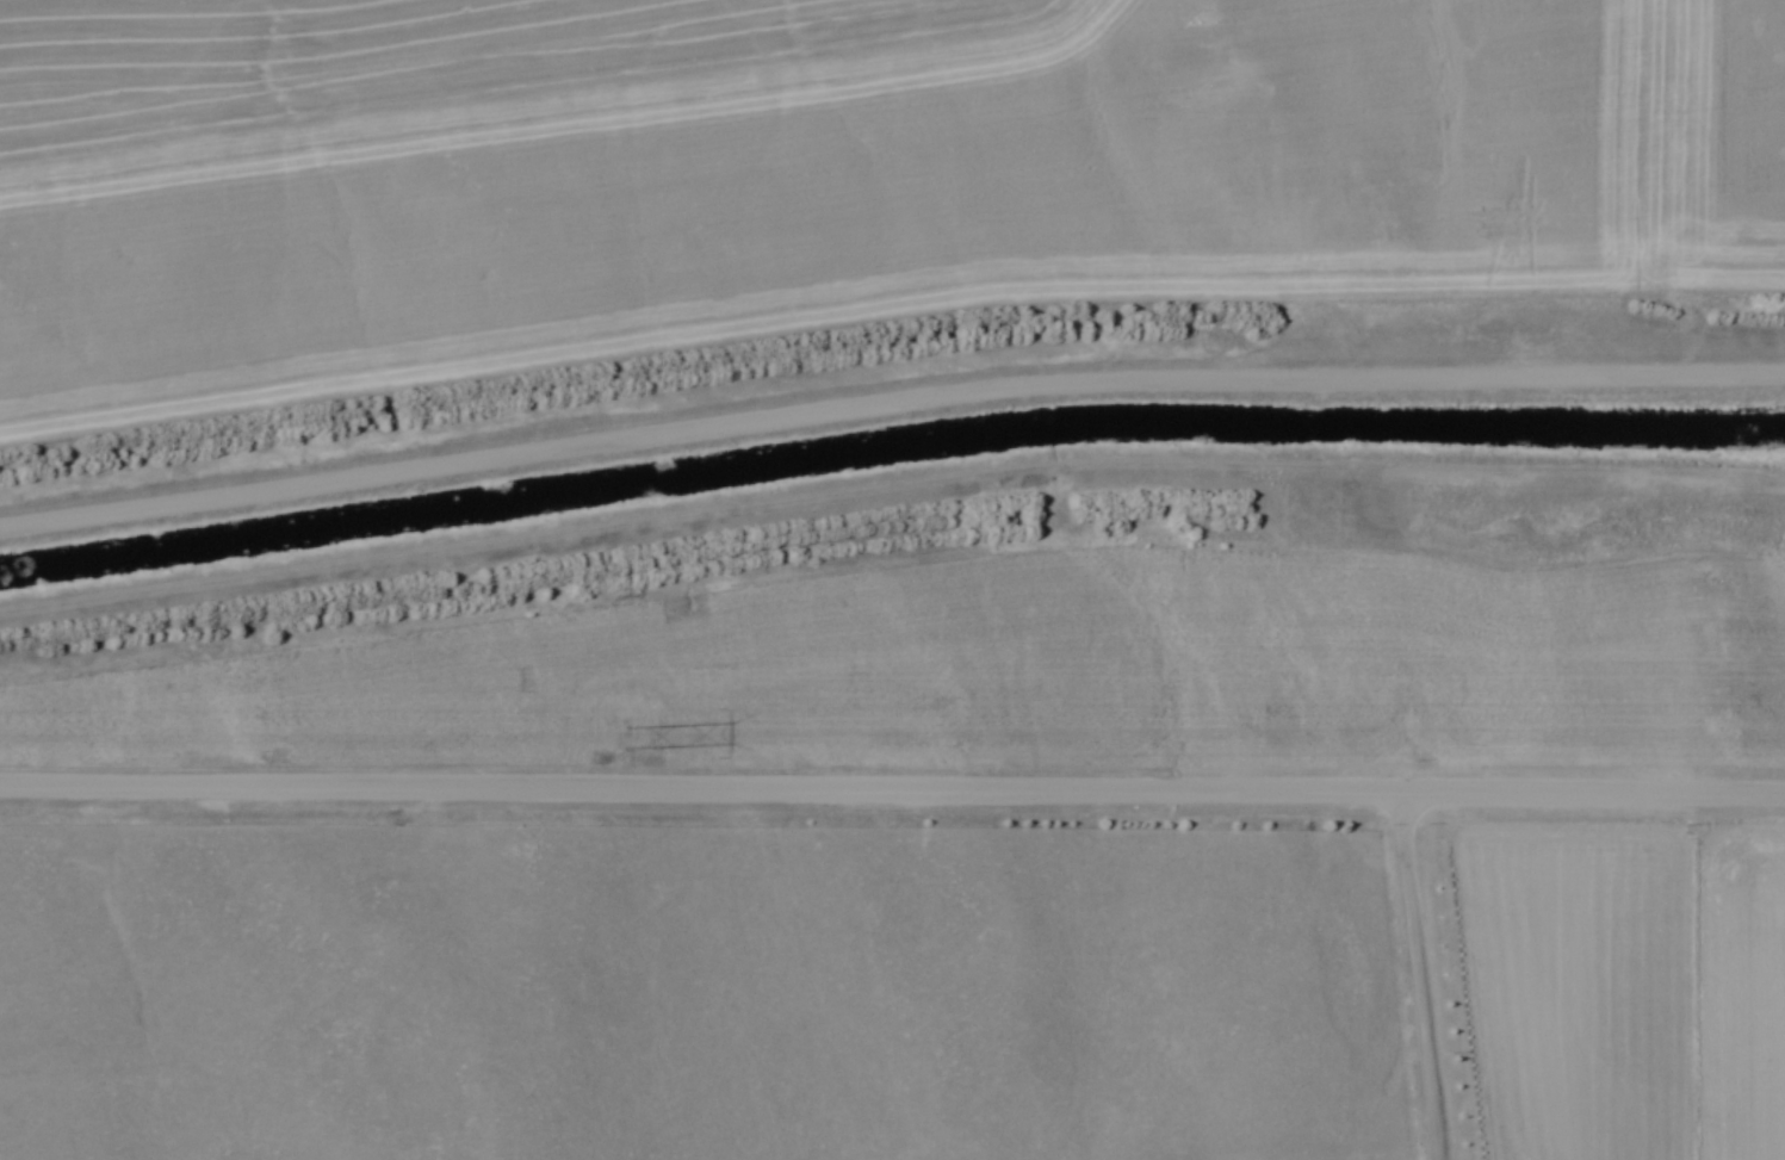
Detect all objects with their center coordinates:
road: (888, 397)
building: (1315, 427)
power tower: (621, 739)
road: (892, 792)
road: (1419, 976)

